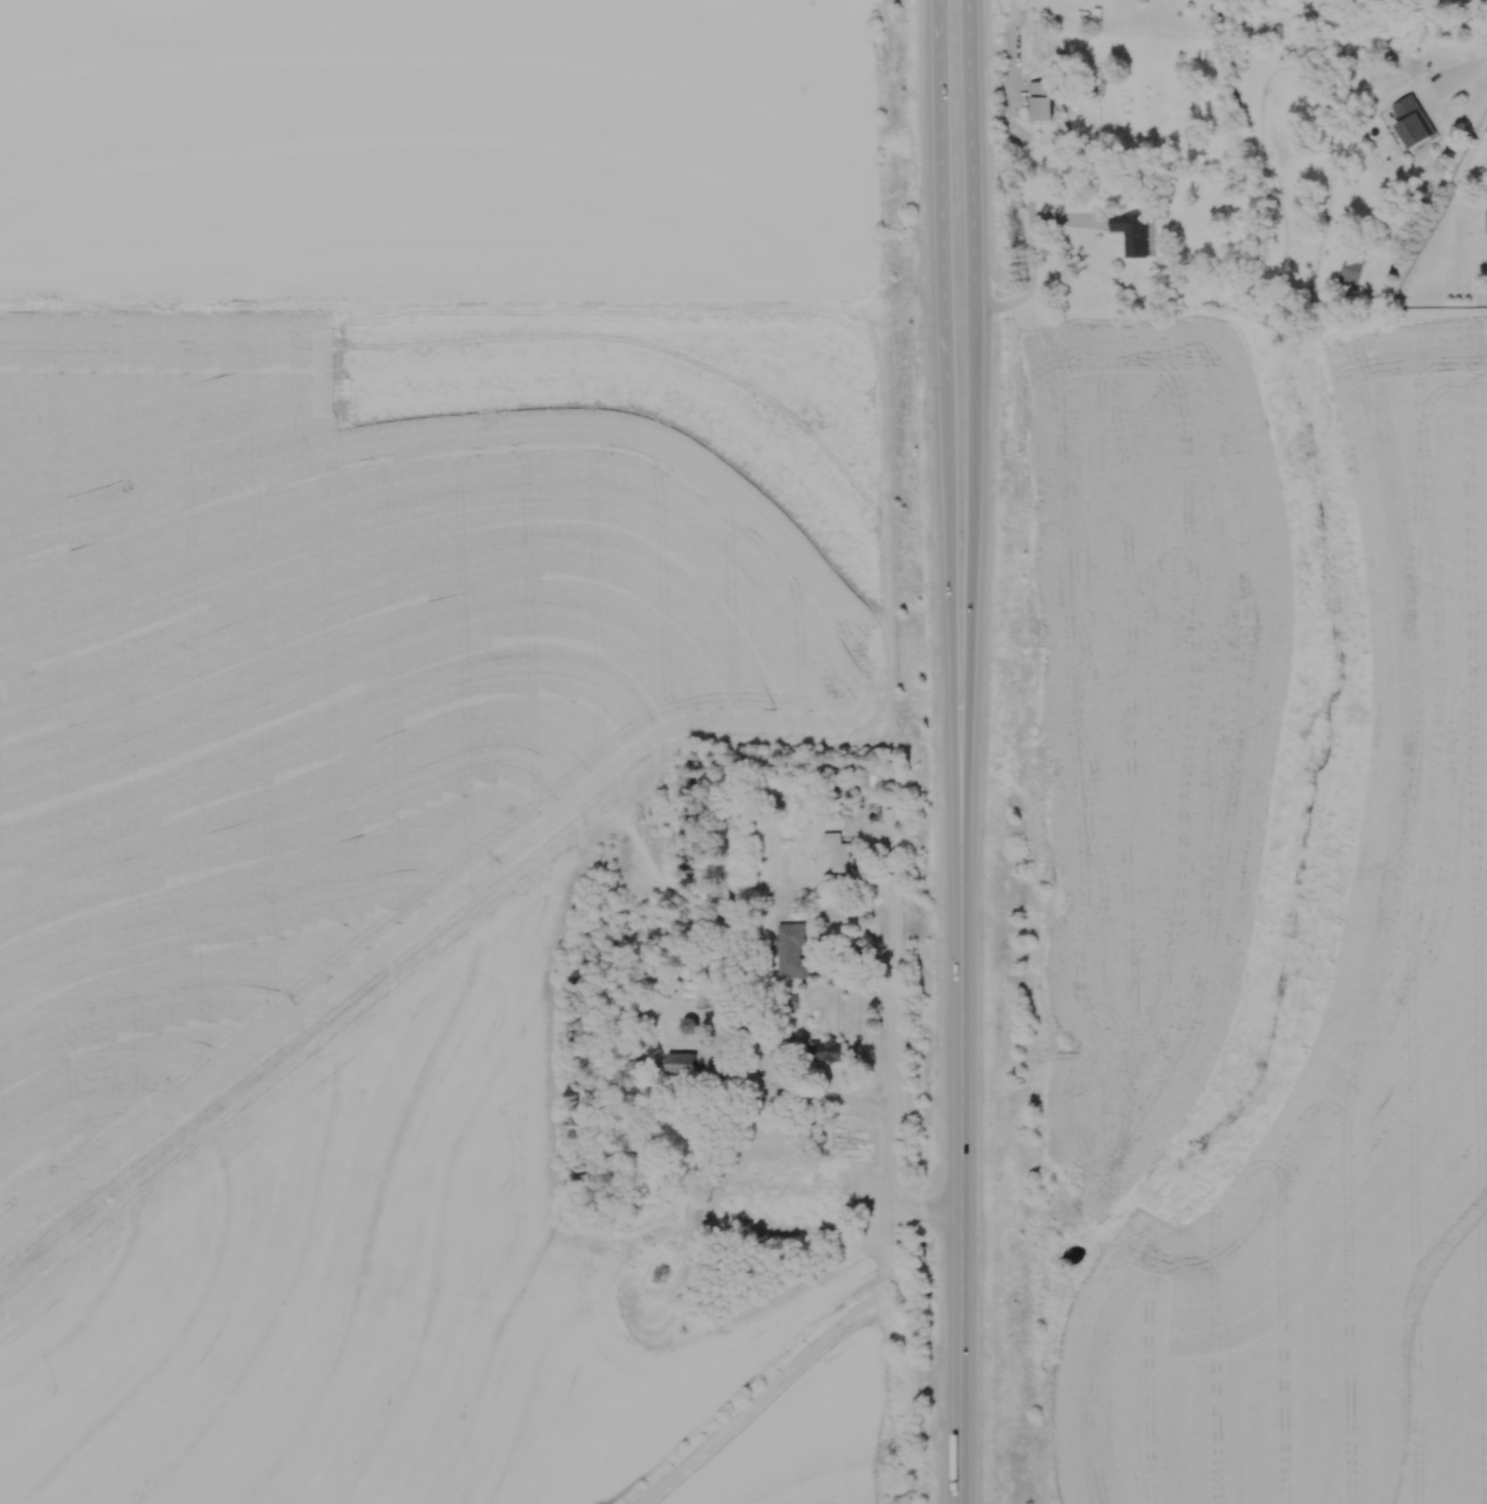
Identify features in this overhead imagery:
building: (1278, 34)
road: (1012, 54)
road: (1453, 80)
building: (1044, 102)
building: (1416, 124)
road: (970, 137)
road: (941, 158)
building: (1134, 233)
building: (1353, 271)
road: (1029, 289)
road: (968, 503)
road: (954, 524)
building: (842, 854)
building: (608, 892)
building: (793, 952)
building: (693, 1026)
road: (890, 1033)
building: (774, 1043)
building: (831, 1052)
building: (683, 1064)
road: (808, 1098)
road: (958, 1117)
airport runway: (750, 1399)

